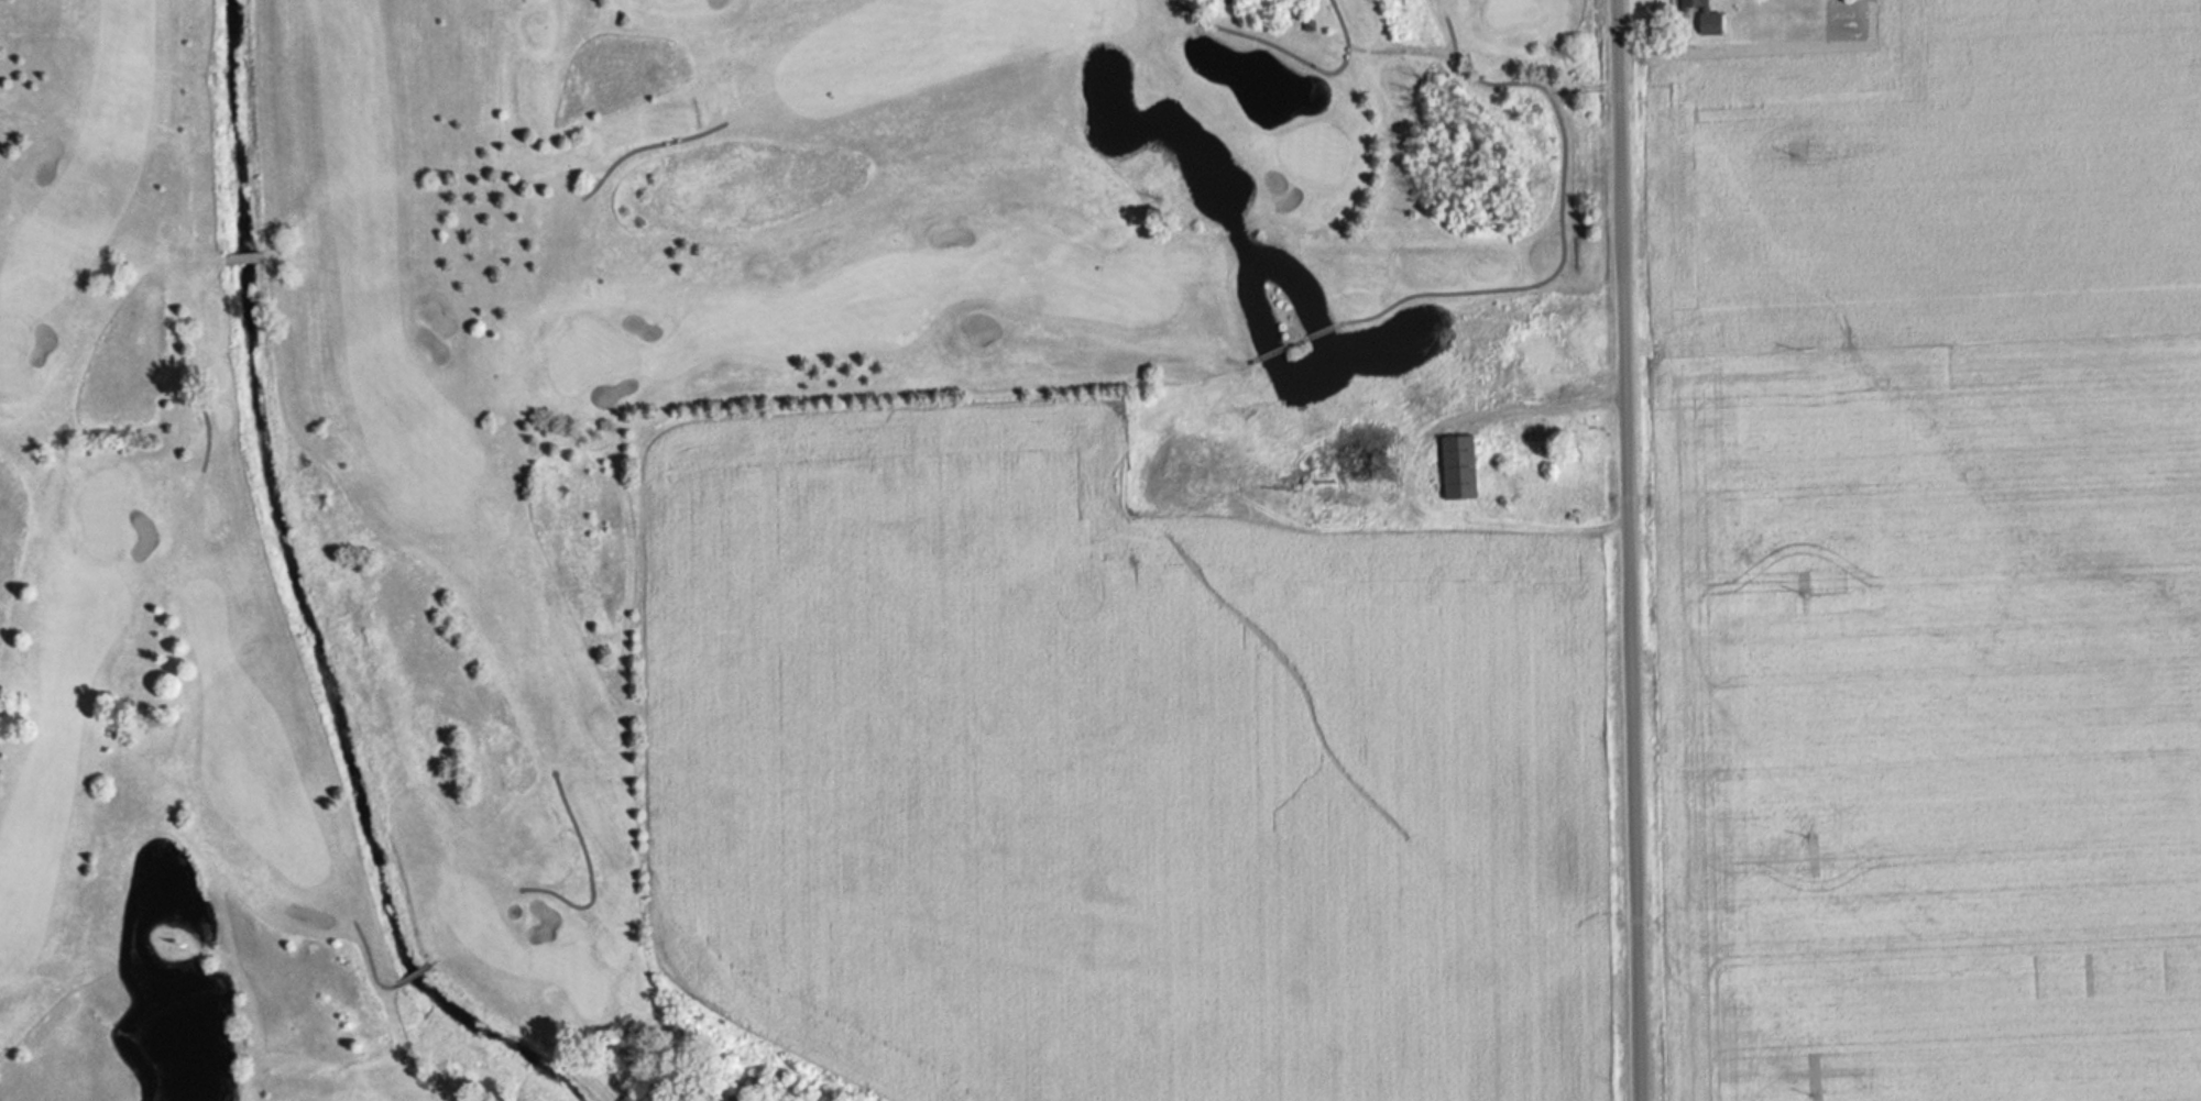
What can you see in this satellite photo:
building: (1702, 15)
building: (1540, 371)
park: (588, 434)
building: (1460, 469)
road: (1627, 550)
crop: (1924, 558)

